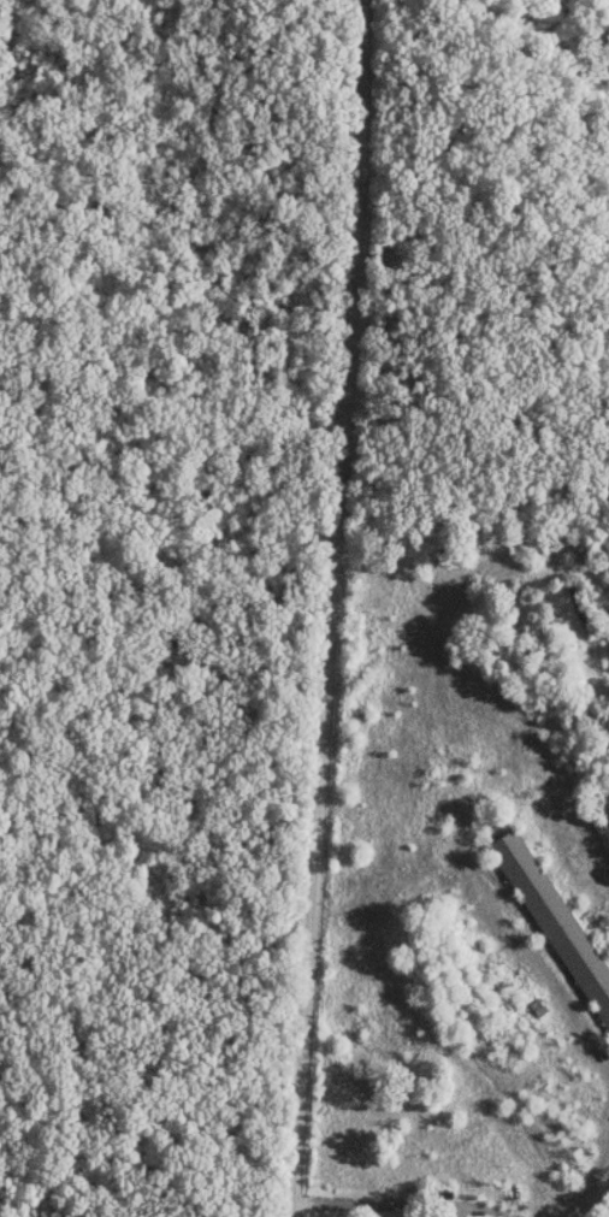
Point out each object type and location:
road: (329, 608)
building: (552, 927)

